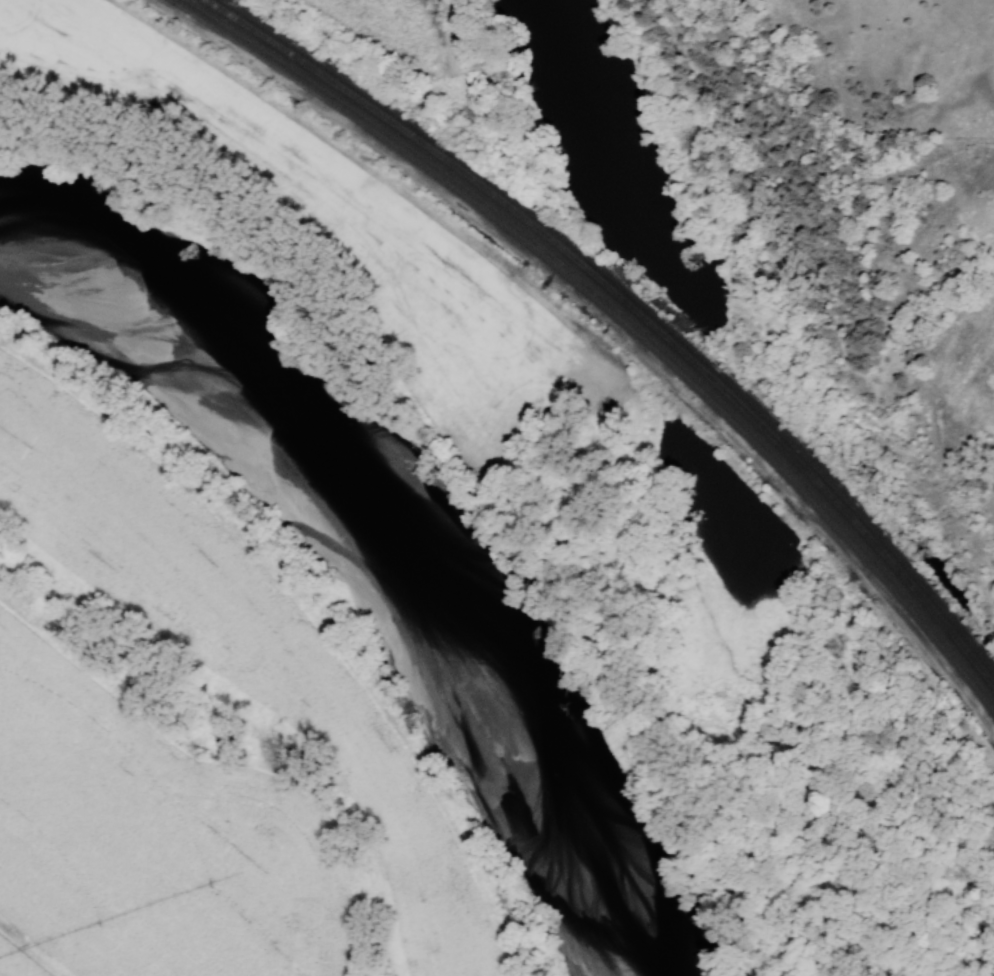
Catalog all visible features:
railway: (632, 307)
railway: (622, 316)
river: (388, 542)

